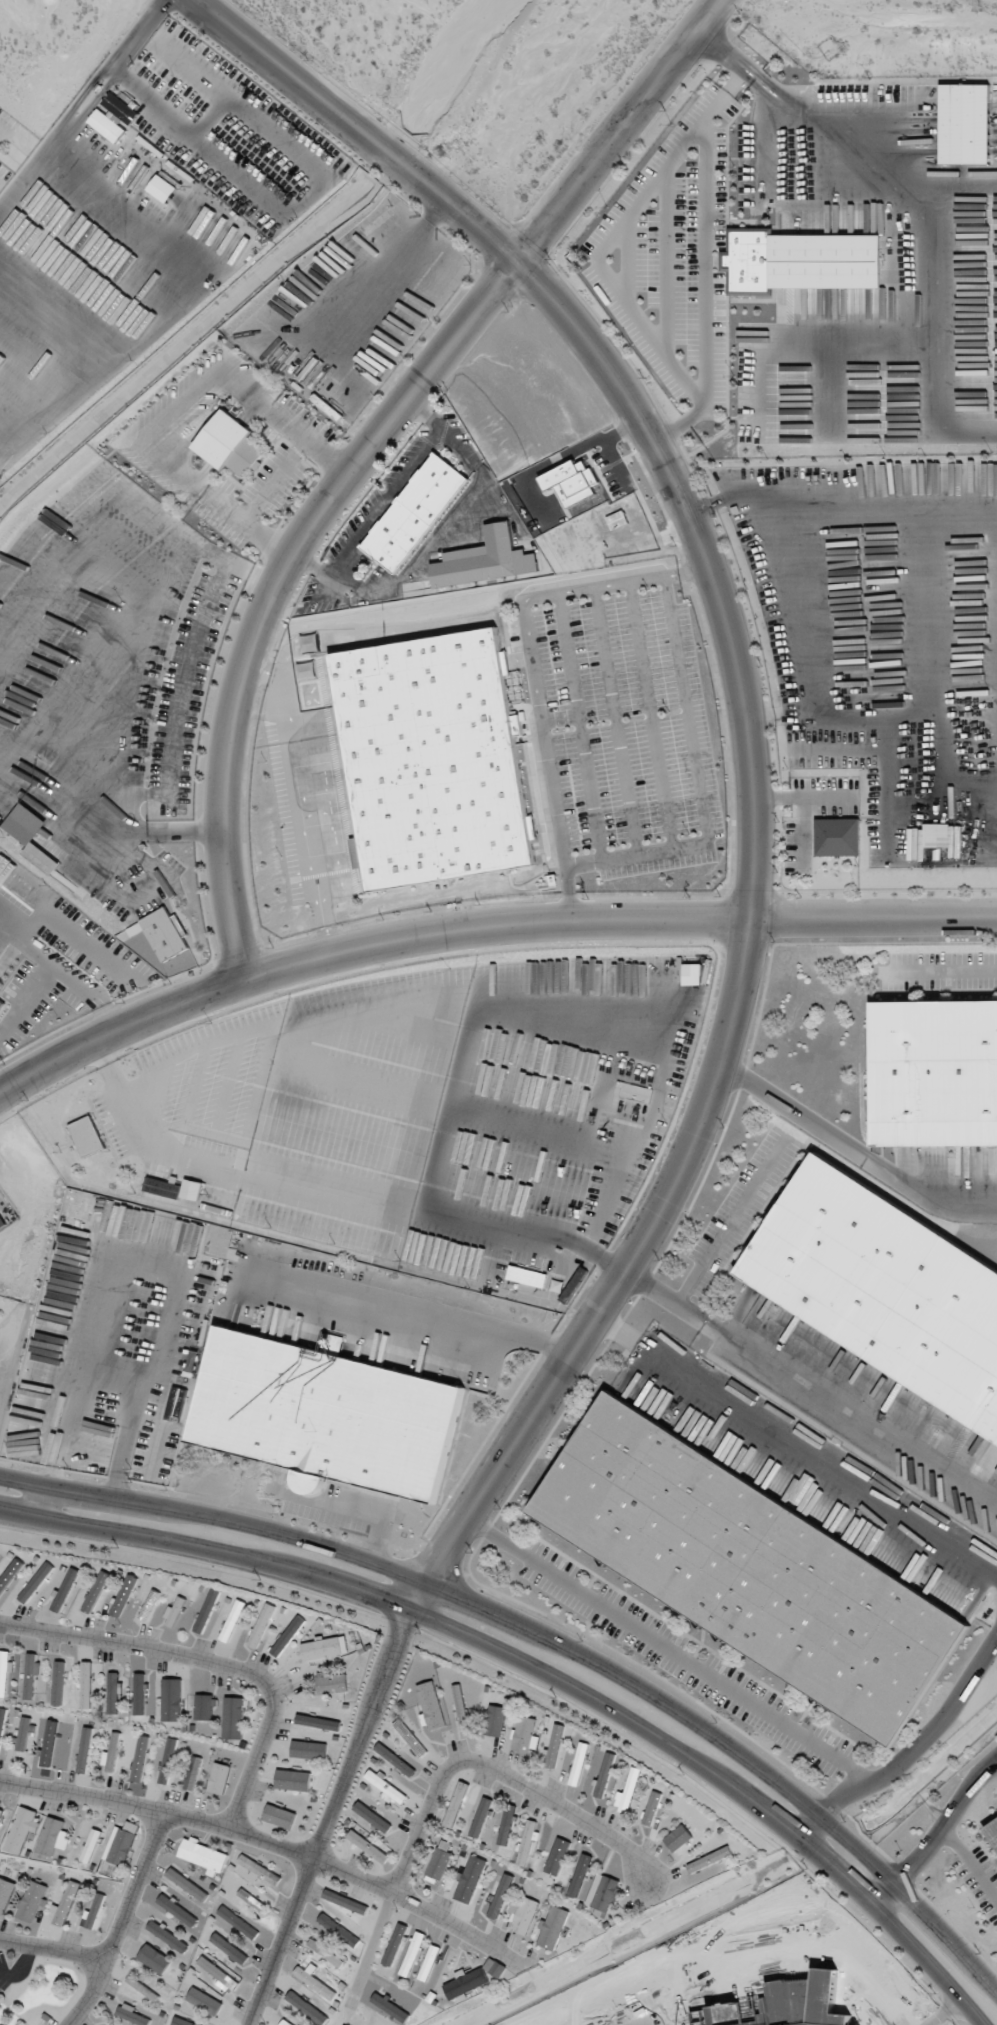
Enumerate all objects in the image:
building: (120, 108)
building: (965, 124)
building: (106, 126)
road: (3, 134)
building: (162, 189)
building: (799, 261)
road: (385, 269)
road: (179, 406)
road: (288, 421)
building: (229, 444)
road: (367, 447)
road: (329, 453)
road: (277, 479)
road: (218, 503)
building: (415, 513)
road: (268, 538)
building: (485, 560)
road: (689, 570)
road: (534, 594)
road: (755, 740)
building: (434, 757)
road: (553, 792)
road: (302, 798)
road: (702, 806)
building: (936, 835)
building: (31, 836)
building: (837, 837)
road: (482, 928)
building: (165, 934)
road: (938, 973)
building: (2, 1001)
building: (937, 1074)
building: (87, 1136)
road: (855, 1150)
building: (162, 1188)
building: (192, 1189)
road: (728, 1220)
building: (2, 1222)
building: (527, 1276)
building: (882, 1287)
road: (663, 1297)
road: (414, 1310)
building: (176, 1404)
building: (327, 1414)
road: (850, 1417)
road: (797, 1441)
building: (751, 1570)
building: (9, 1574)
building: (35, 1582)
building: (65, 1589)
building: (96, 1591)
building: (123, 1595)
building: (149, 1605)
building: (206, 1610)
building: (232, 1620)
building: (261, 1625)
building: (287, 1636)
road: (550, 1639)
building: (324, 1648)
road: (210, 1663)
road: (696, 1668)
building: (4, 1671)
road: (542, 1672)
building: (30, 1674)
building: (58, 1683)
building: (331, 1683)
building: (86, 1685)
building: (112, 1693)
building: (139, 1694)
building: (171, 1699)
building: (459, 1704)
building: (430, 1706)
building: (204, 1707)
road: (943, 1714)
building: (2, 1720)
building: (494, 1720)
building: (318, 1722)
building: (23, 1733)
building: (525, 1734)
building: (409, 1738)
building: (49, 1740)
building: (554, 1746)
building: (308, 1749)
building: (84, 1750)
building: (111, 1753)
building: (140, 1758)
building: (167, 1761)
building: (578, 1763)
building: (192, 1773)
road: (445, 1777)
building: (219, 1778)
building: (292, 1780)
building: (387, 1788)
building: (627, 1790)
road: (968, 1791)
building: (456, 1804)
building: (651, 1808)
building: (1, 1813)
building: (279, 1816)
road: (327, 1817)
building: (372, 1817)
building: (480, 1817)
building: (506, 1825)
building: (993, 1825)
road: (809, 1827)
building: (22, 1830)
building: (993, 1833)
building: (54, 1836)
building: (677, 1838)
building: (121, 1843)
road: (272, 1843)
building: (526, 1843)
building: (91, 1845)
building: (367, 1846)
building: (203, 1856)
building: (557, 1856)
road: (917, 1856)
building: (438, 1861)
road: (969, 1865)
building: (259, 1870)
building: (580, 1875)
building: (470, 1879)
building: (187, 1884)
building: (603, 1892)
building: (5, 1893)
building: (500, 1896)
road: (884, 1896)
building: (31, 1901)
building: (252, 1901)
building: (345, 1901)
building: (64, 1903)
building: (177, 1910)
building: (95, 1911)
building: (522, 1914)
road: (116, 1922)
building: (237, 1922)
building: (552, 1927)
building: (338, 1930)
building: (167, 1936)
building: (394, 1944)
building: (228, 1948)
road: (51, 1951)
building: (154, 1959)
road: (16, 1966)
building: (494, 1967)
building: (219, 1975)
building: (313, 1980)
building: (467, 1982)
building: (204, 2002)
road: (678, 2004)
building: (307, 2008)
road: (942, 2010)
building: (180, 2022)
building: (285, 2023)

